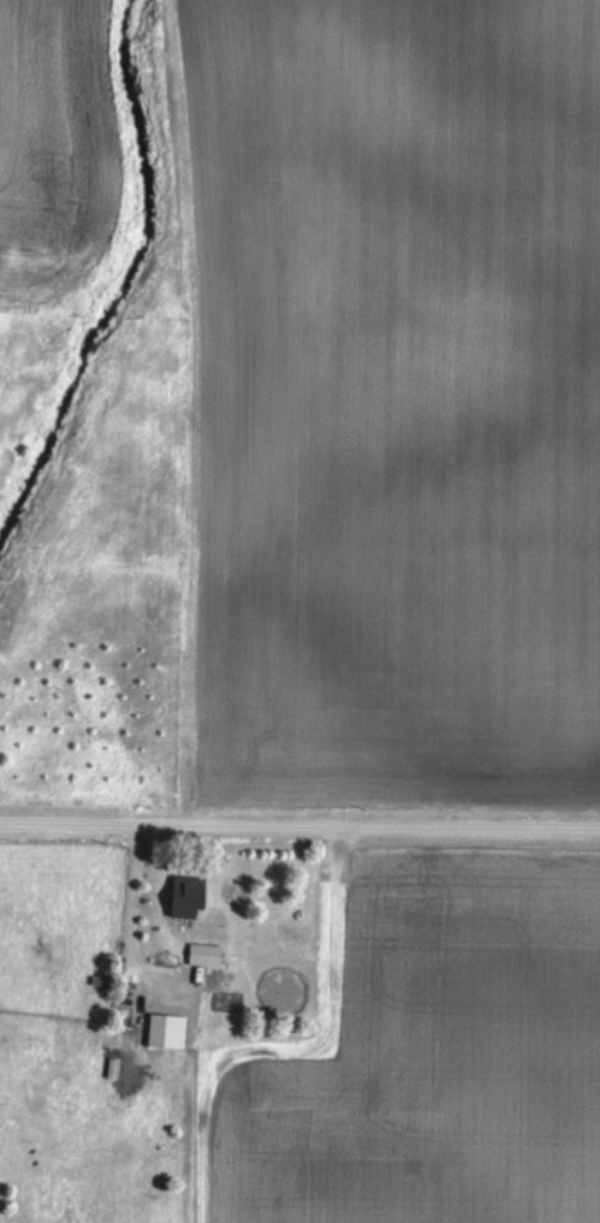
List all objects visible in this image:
road: (299, 821)
building: (185, 898)
road: (131, 921)
building: (204, 955)
building: (168, 1033)

